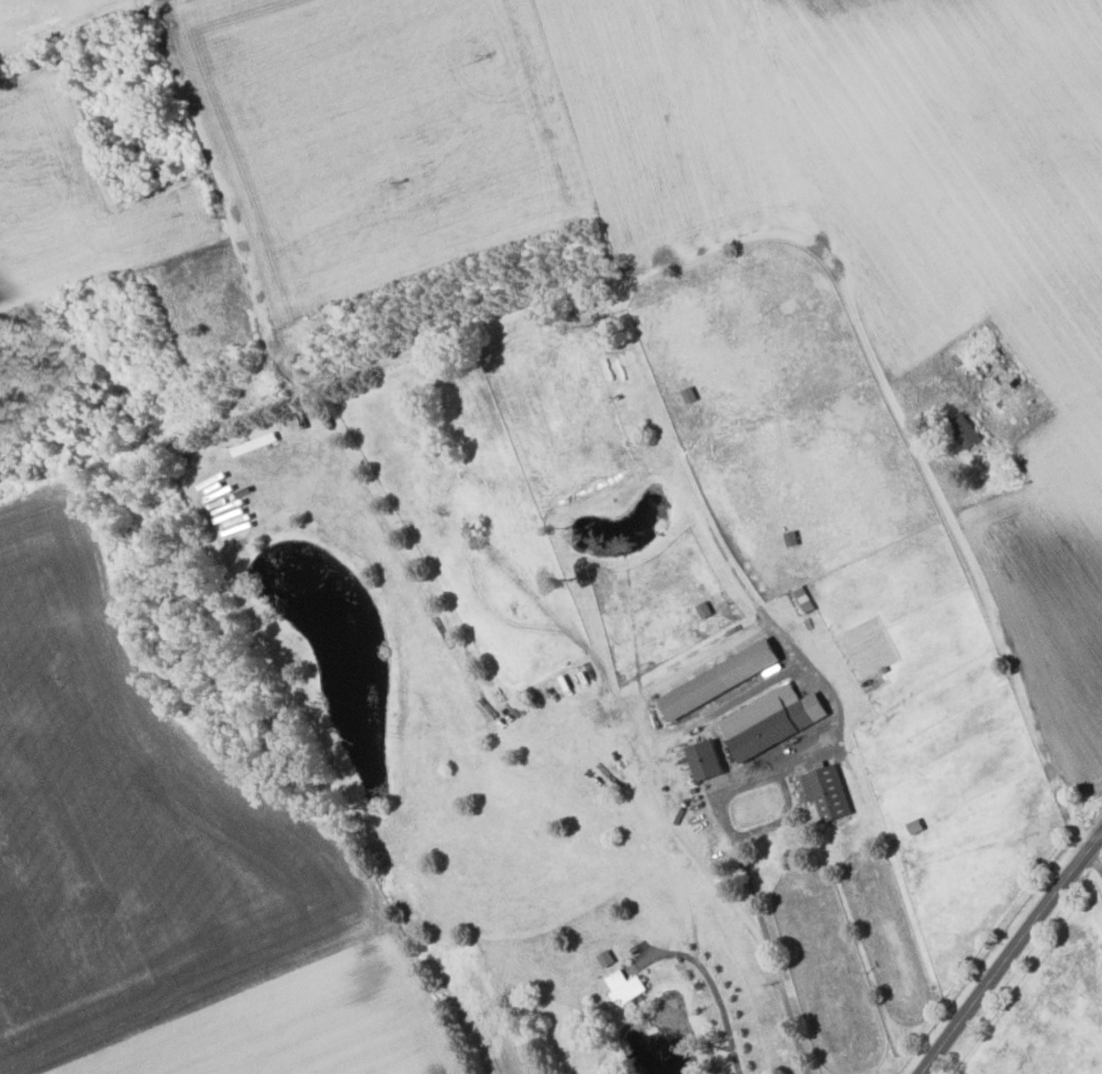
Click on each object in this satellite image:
road: (141, 1)
road: (69, 29)
road: (666, 270)
building: (961, 429)
road: (151, 451)
road: (787, 670)
building: (719, 679)
building: (770, 719)
building: (704, 759)
building: (826, 792)
road: (1011, 955)
building: (604, 958)
building: (623, 985)
road: (715, 992)
road: (788, 1010)

